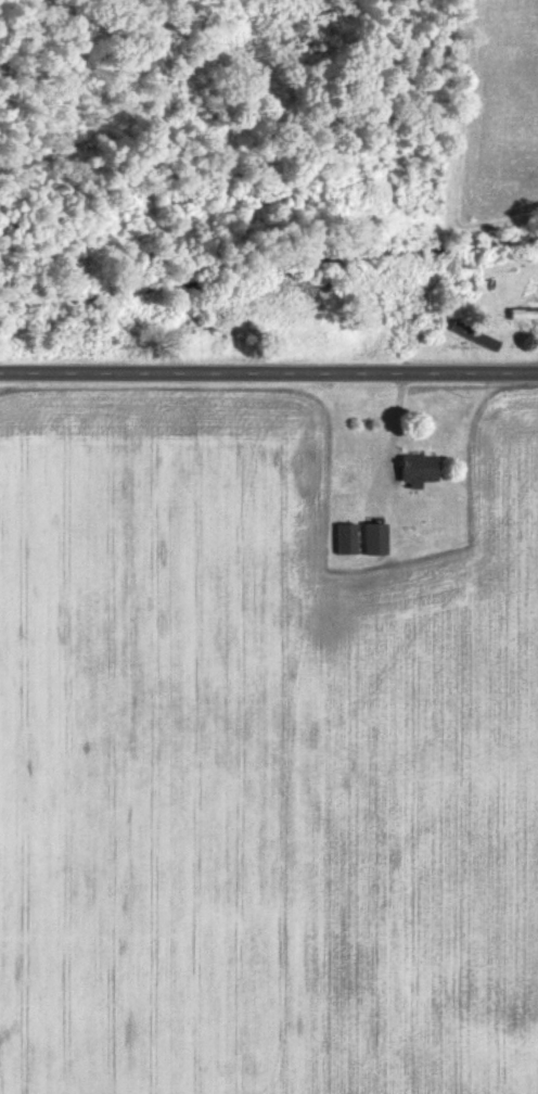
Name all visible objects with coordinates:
building: (521, 315)
road: (269, 372)
building: (411, 471)
building: (342, 540)
building: (370, 540)

